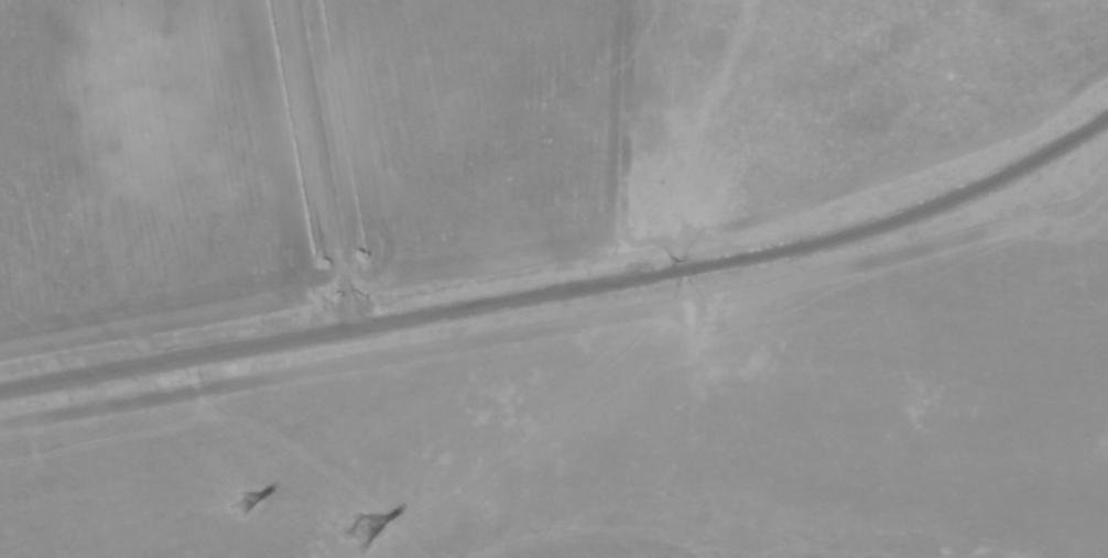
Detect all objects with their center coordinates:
road: (323, 167)
road: (566, 296)
power tower: (252, 511)
power tower: (370, 538)

